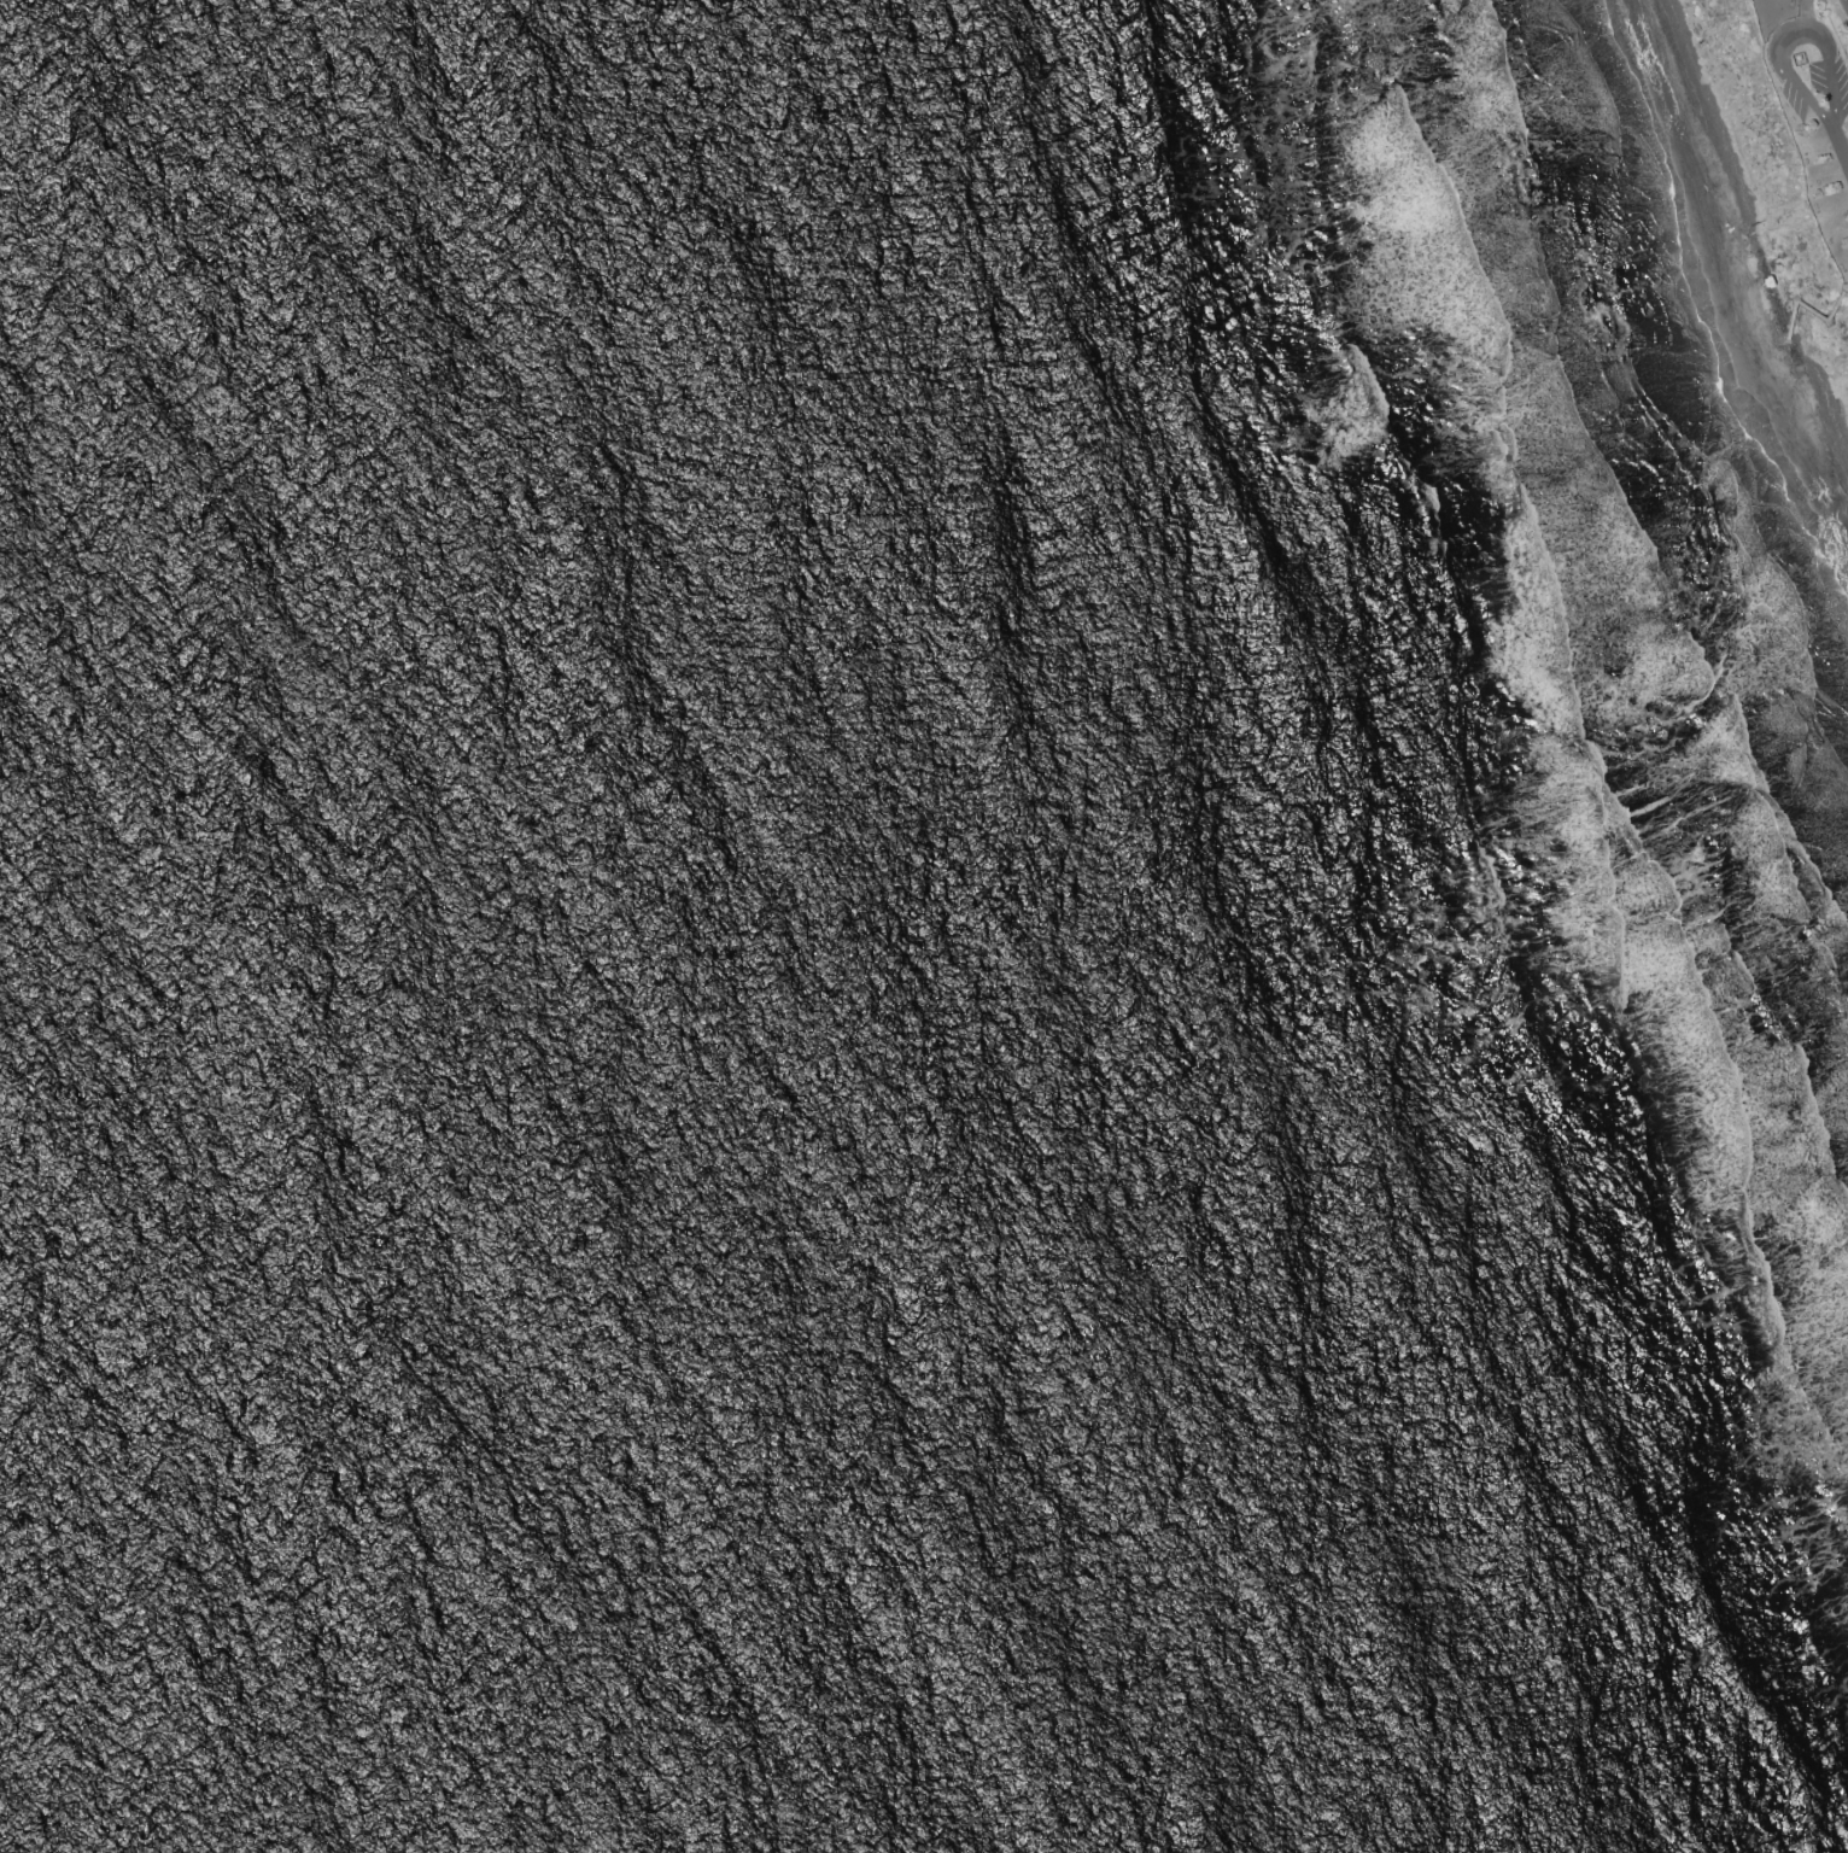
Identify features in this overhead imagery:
road: (1841, 12)
road: (1805, 14)
road: (1793, 34)
parking lot: (1817, 46)
road: (1840, 152)
road: (1846, 286)

